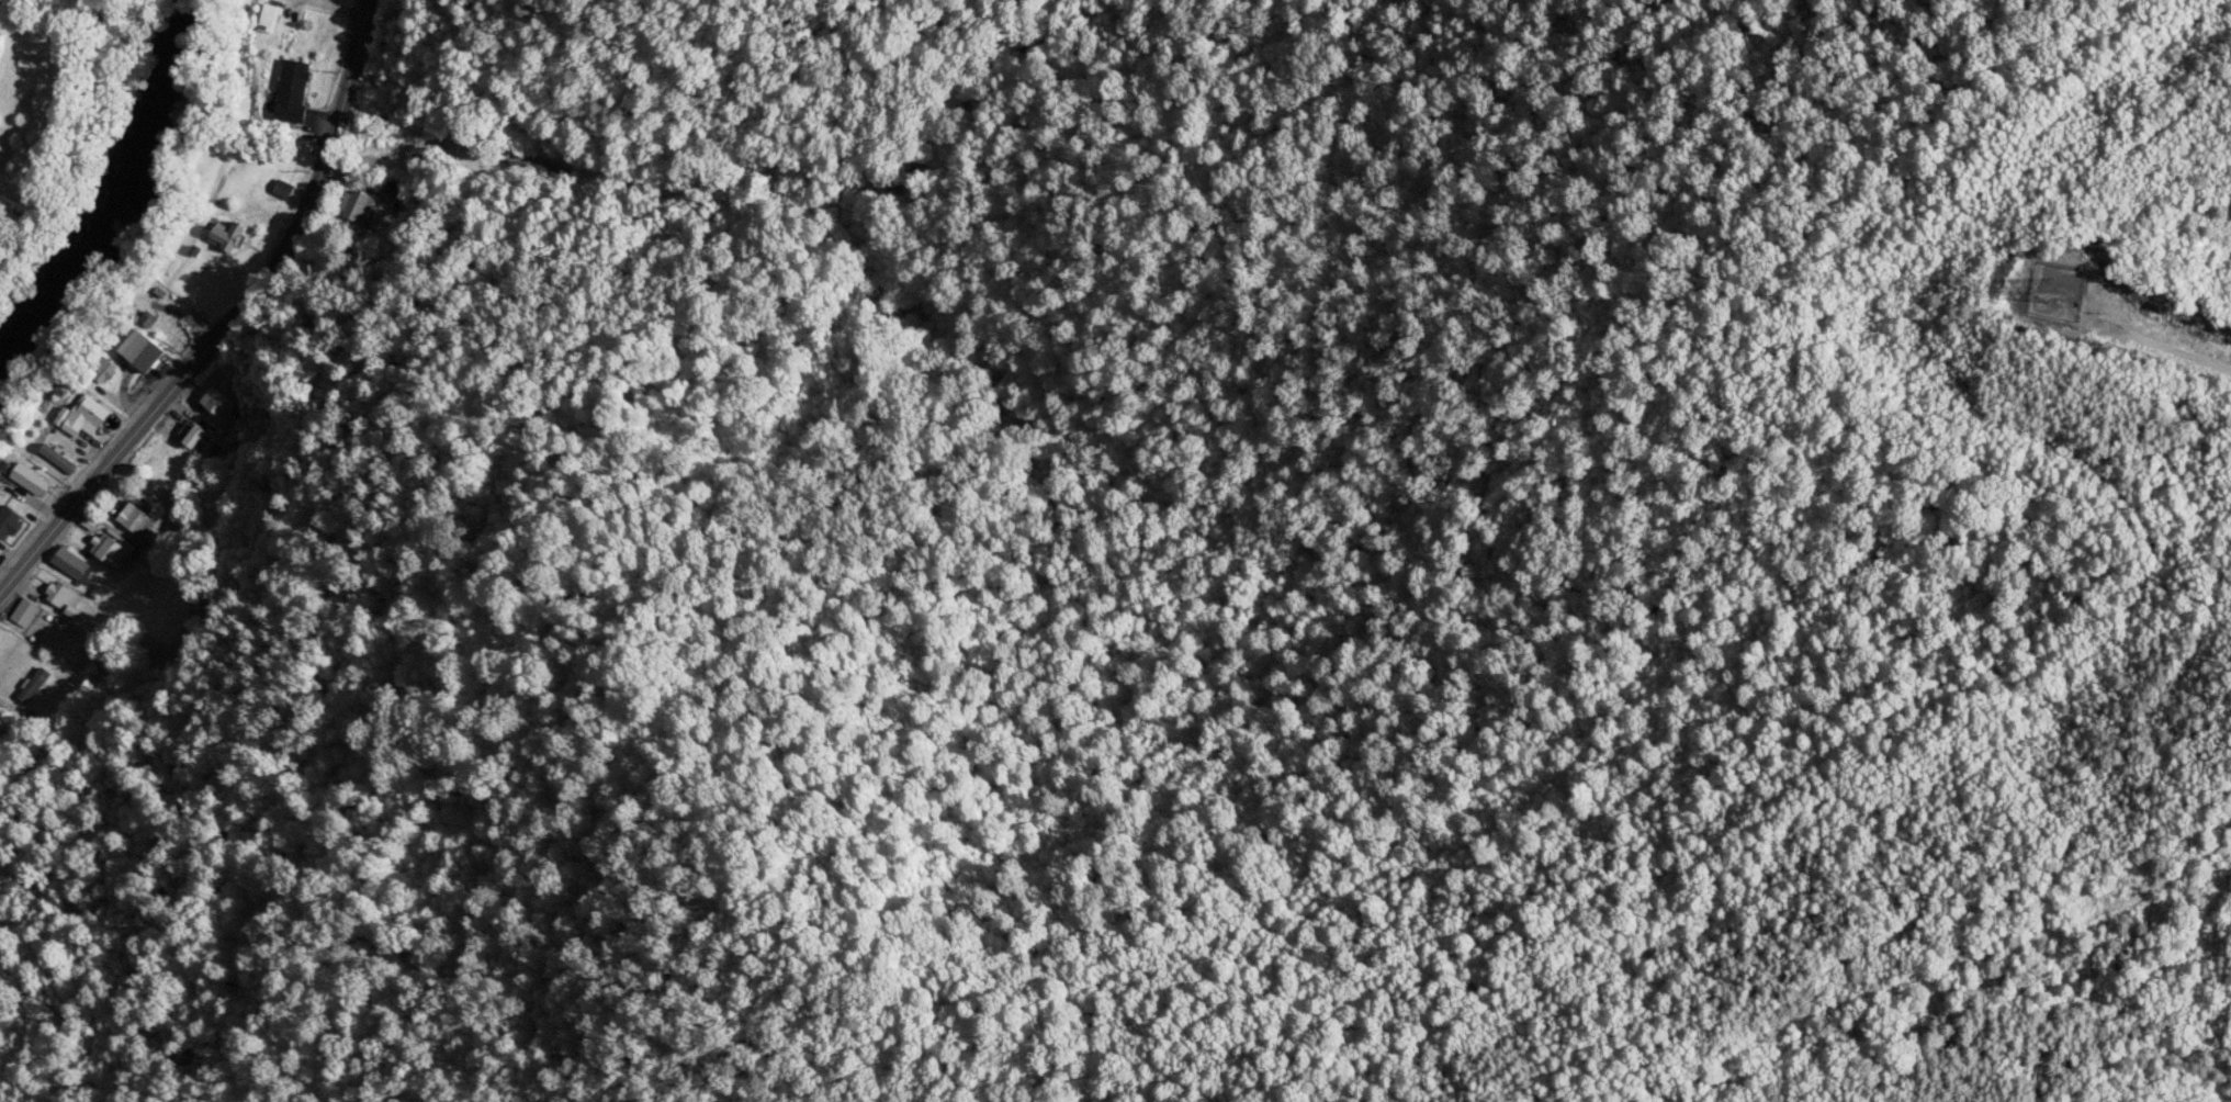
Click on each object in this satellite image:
building: (268, 19)
building: (292, 90)
building: (399, 131)
river: (117, 194)
road: (226, 321)
building: (145, 350)
building: (104, 370)
building: (218, 402)
building: (89, 417)
building: (60, 460)
building: (167, 475)
building: (32, 482)
building: (133, 518)
building: (11, 525)
building: (72, 566)
building: (60, 597)
building: (24, 614)

